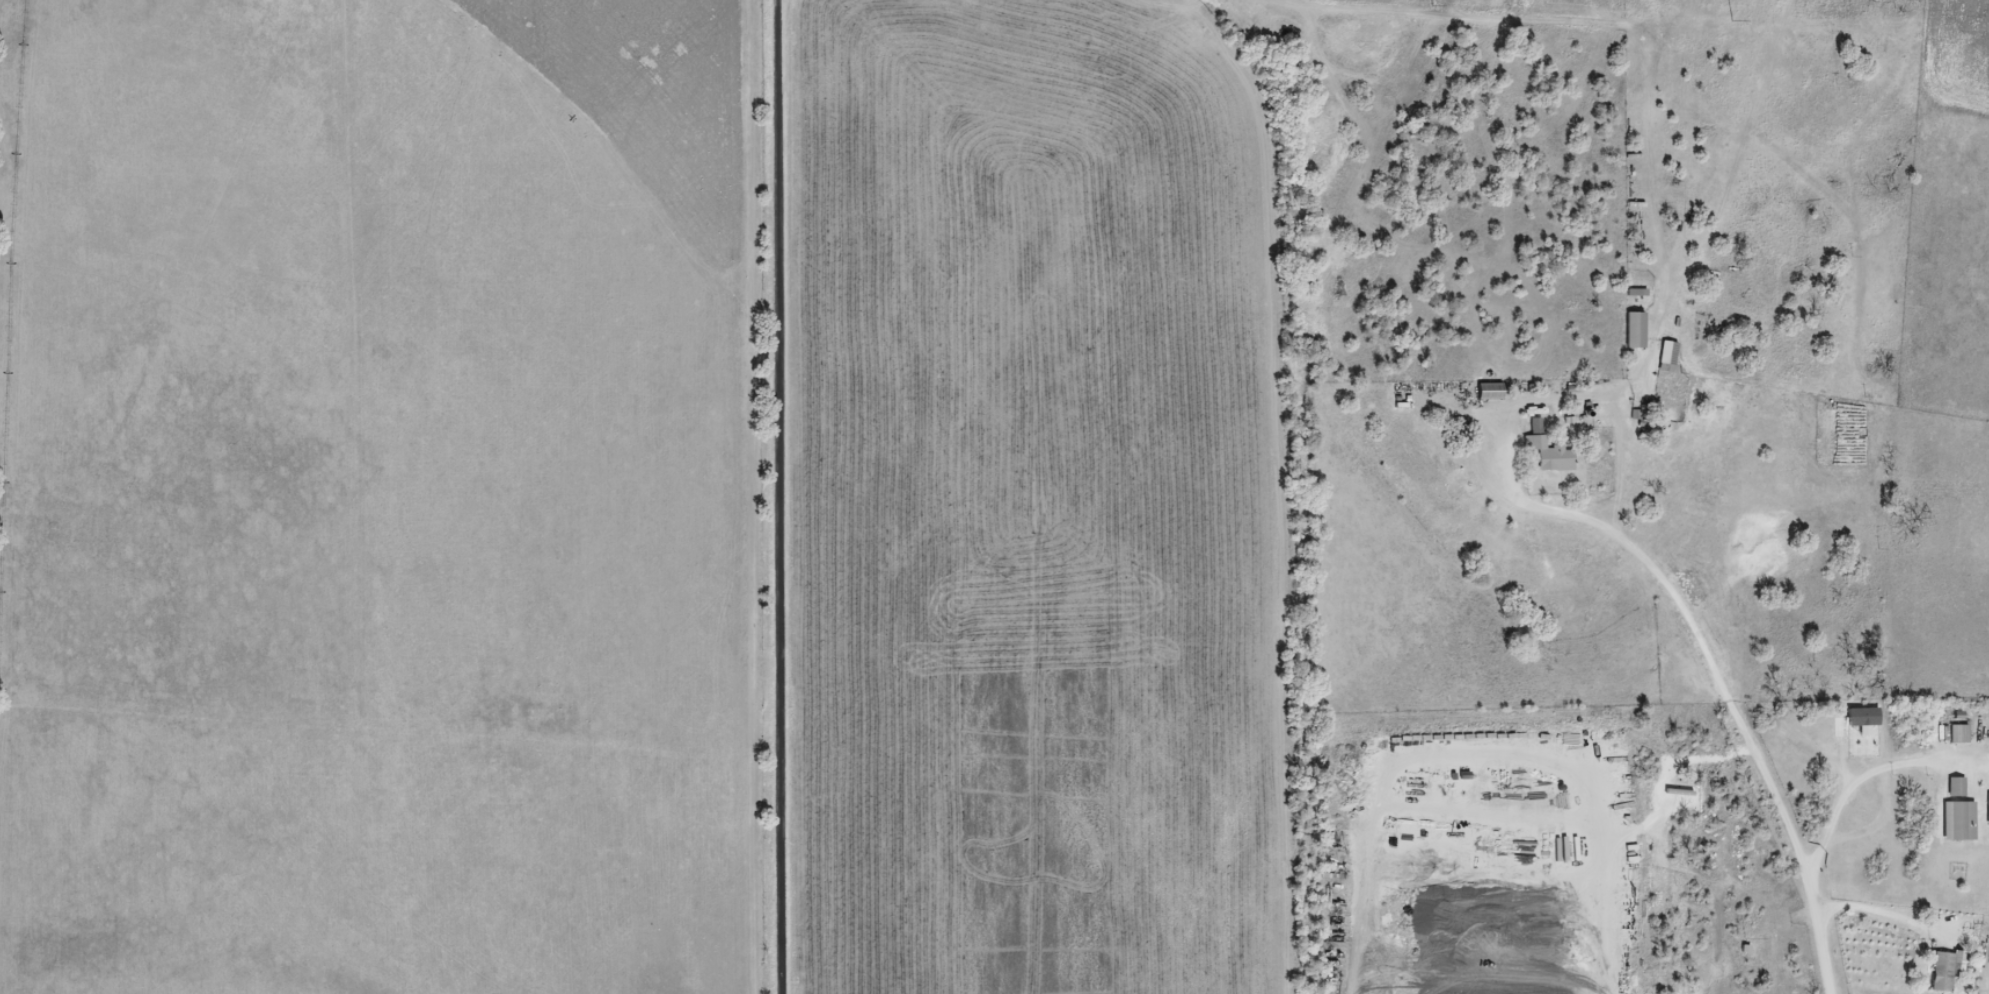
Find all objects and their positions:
power tower: (1433, 4)
road: (1163, 7)
road: (783, 9)
road: (1501, 18)
power tower: (1730, 20)
building: (1636, 330)
building: (1667, 356)
building: (1491, 391)
building: (1548, 450)
road: (781, 497)
road: (1721, 684)
building: (1961, 733)
building: (1958, 786)
building: (1961, 820)
road: (1886, 913)
building: (1946, 971)

